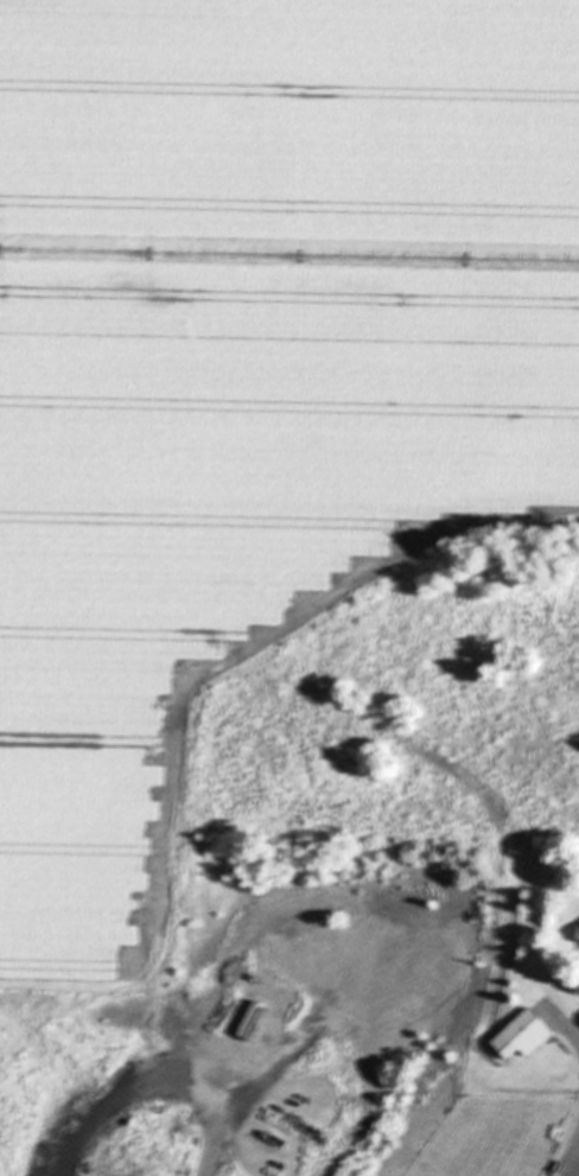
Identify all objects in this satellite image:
building: (526, 1036)
road: (568, 1159)

